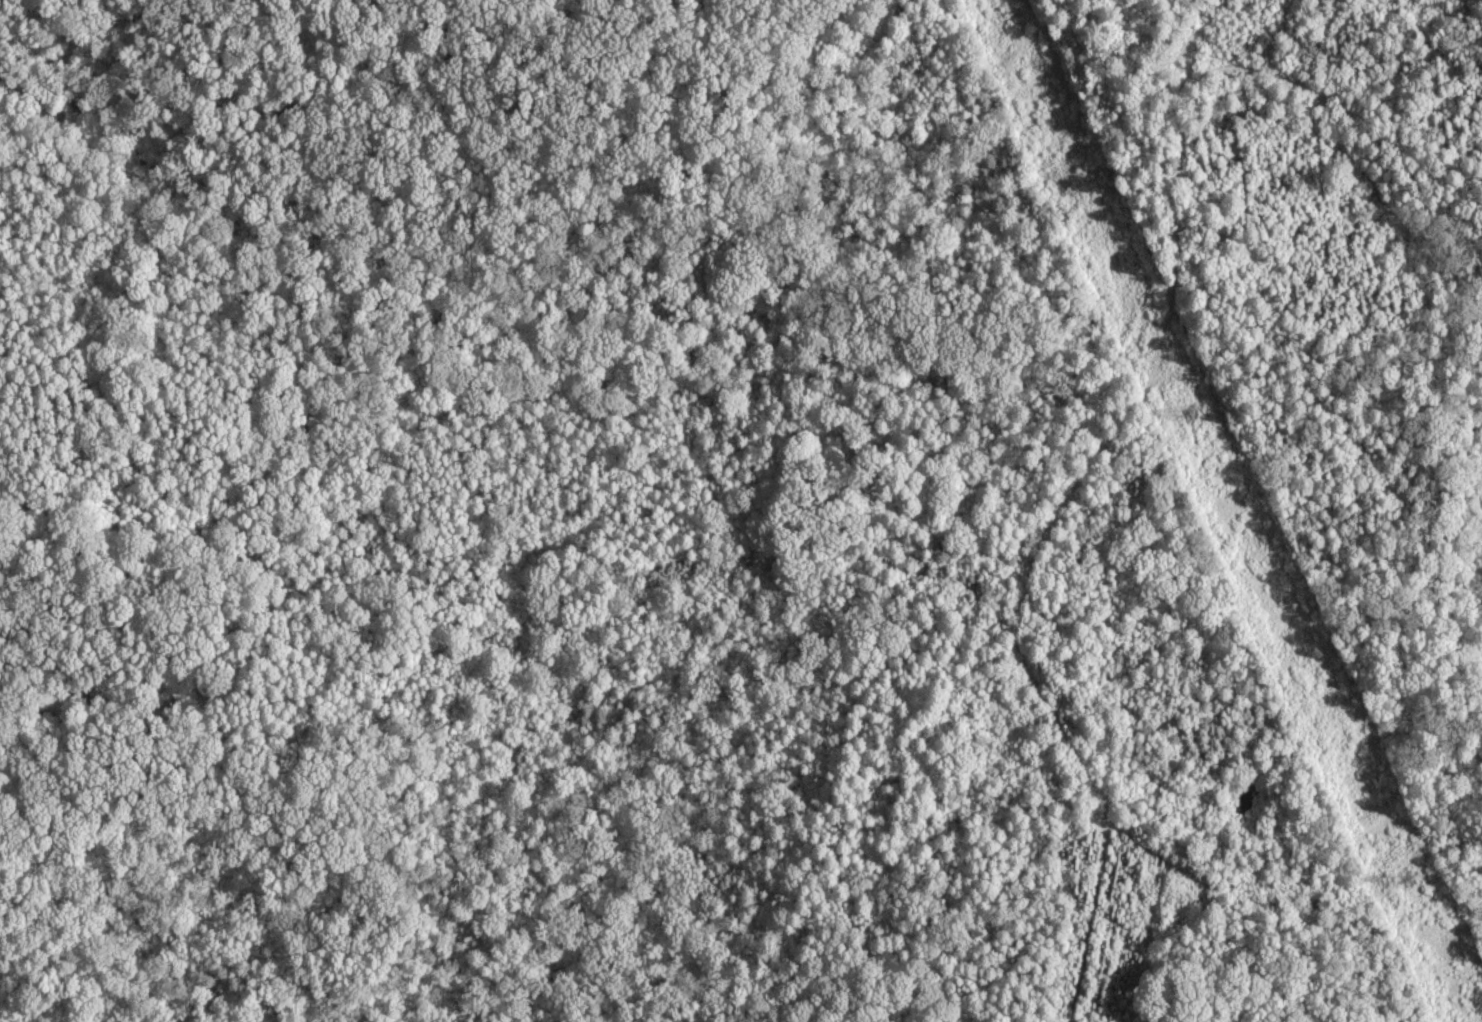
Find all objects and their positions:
power tower: (1173, 410)
power tower: (1399, 872)

